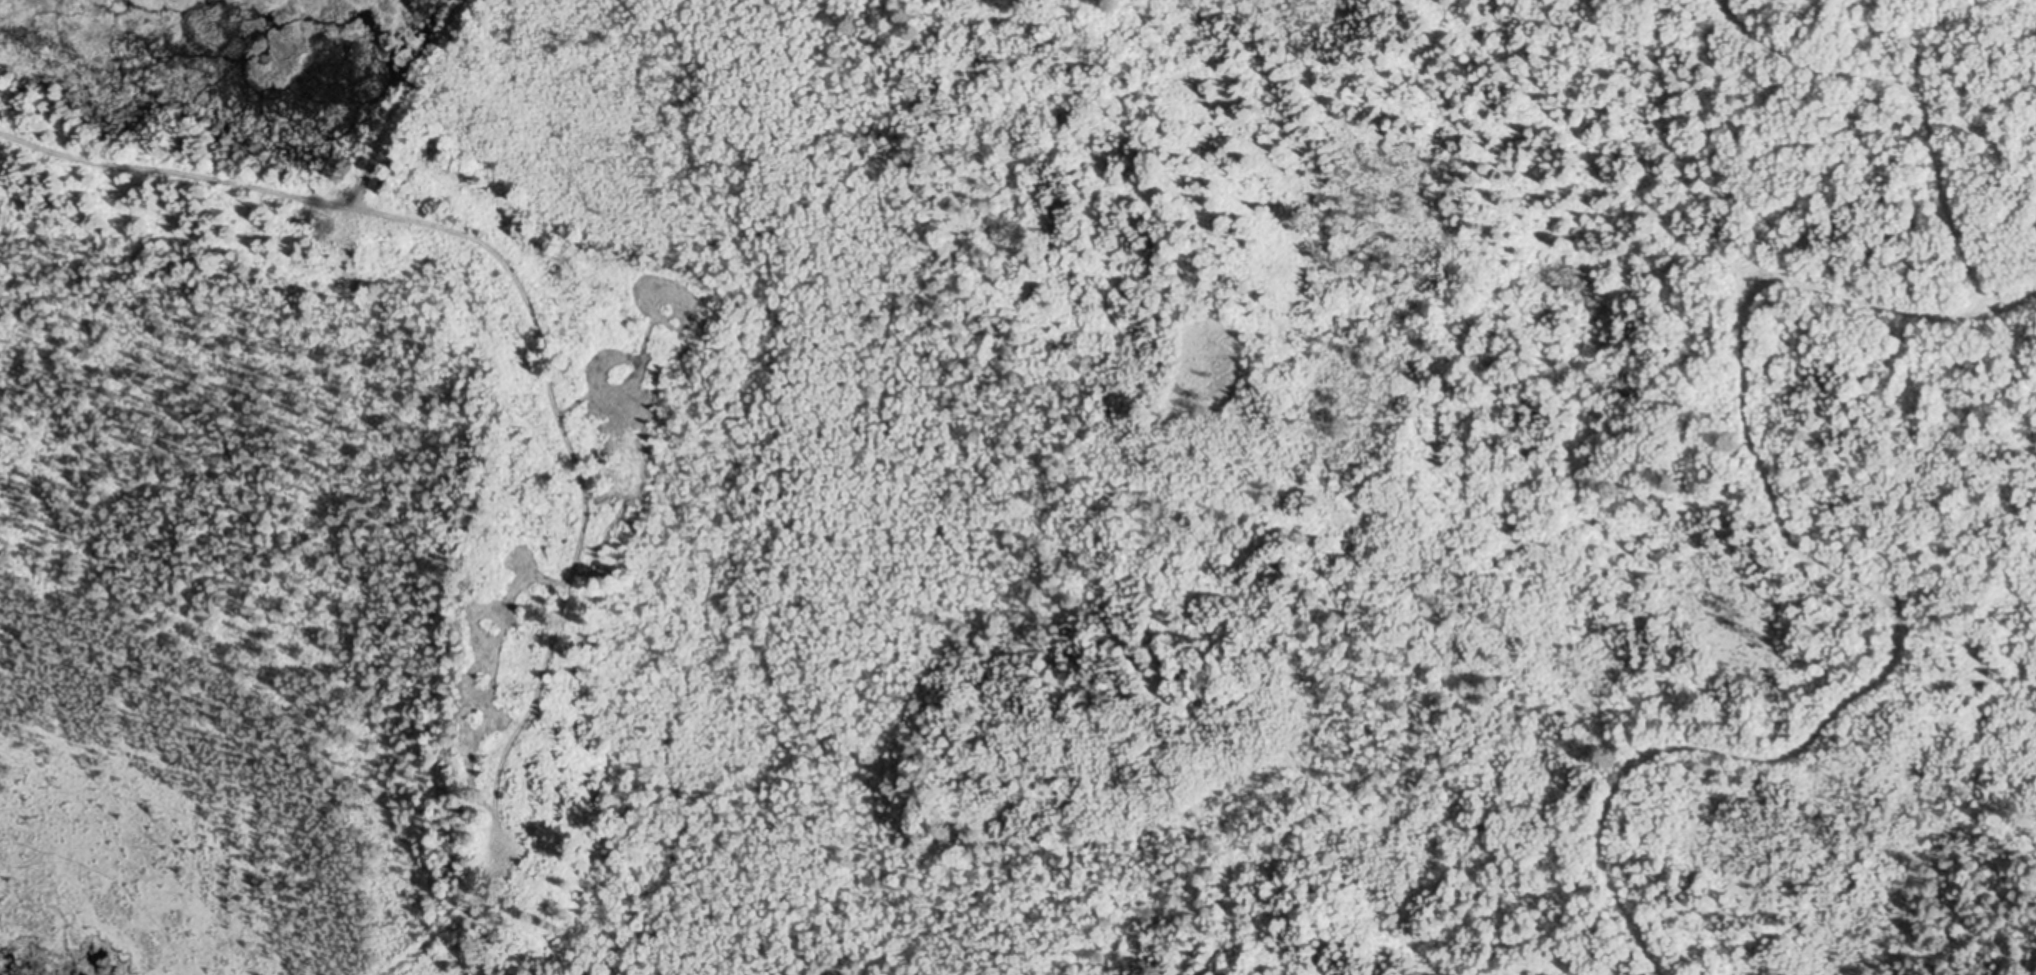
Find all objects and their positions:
road: (491, 393)

